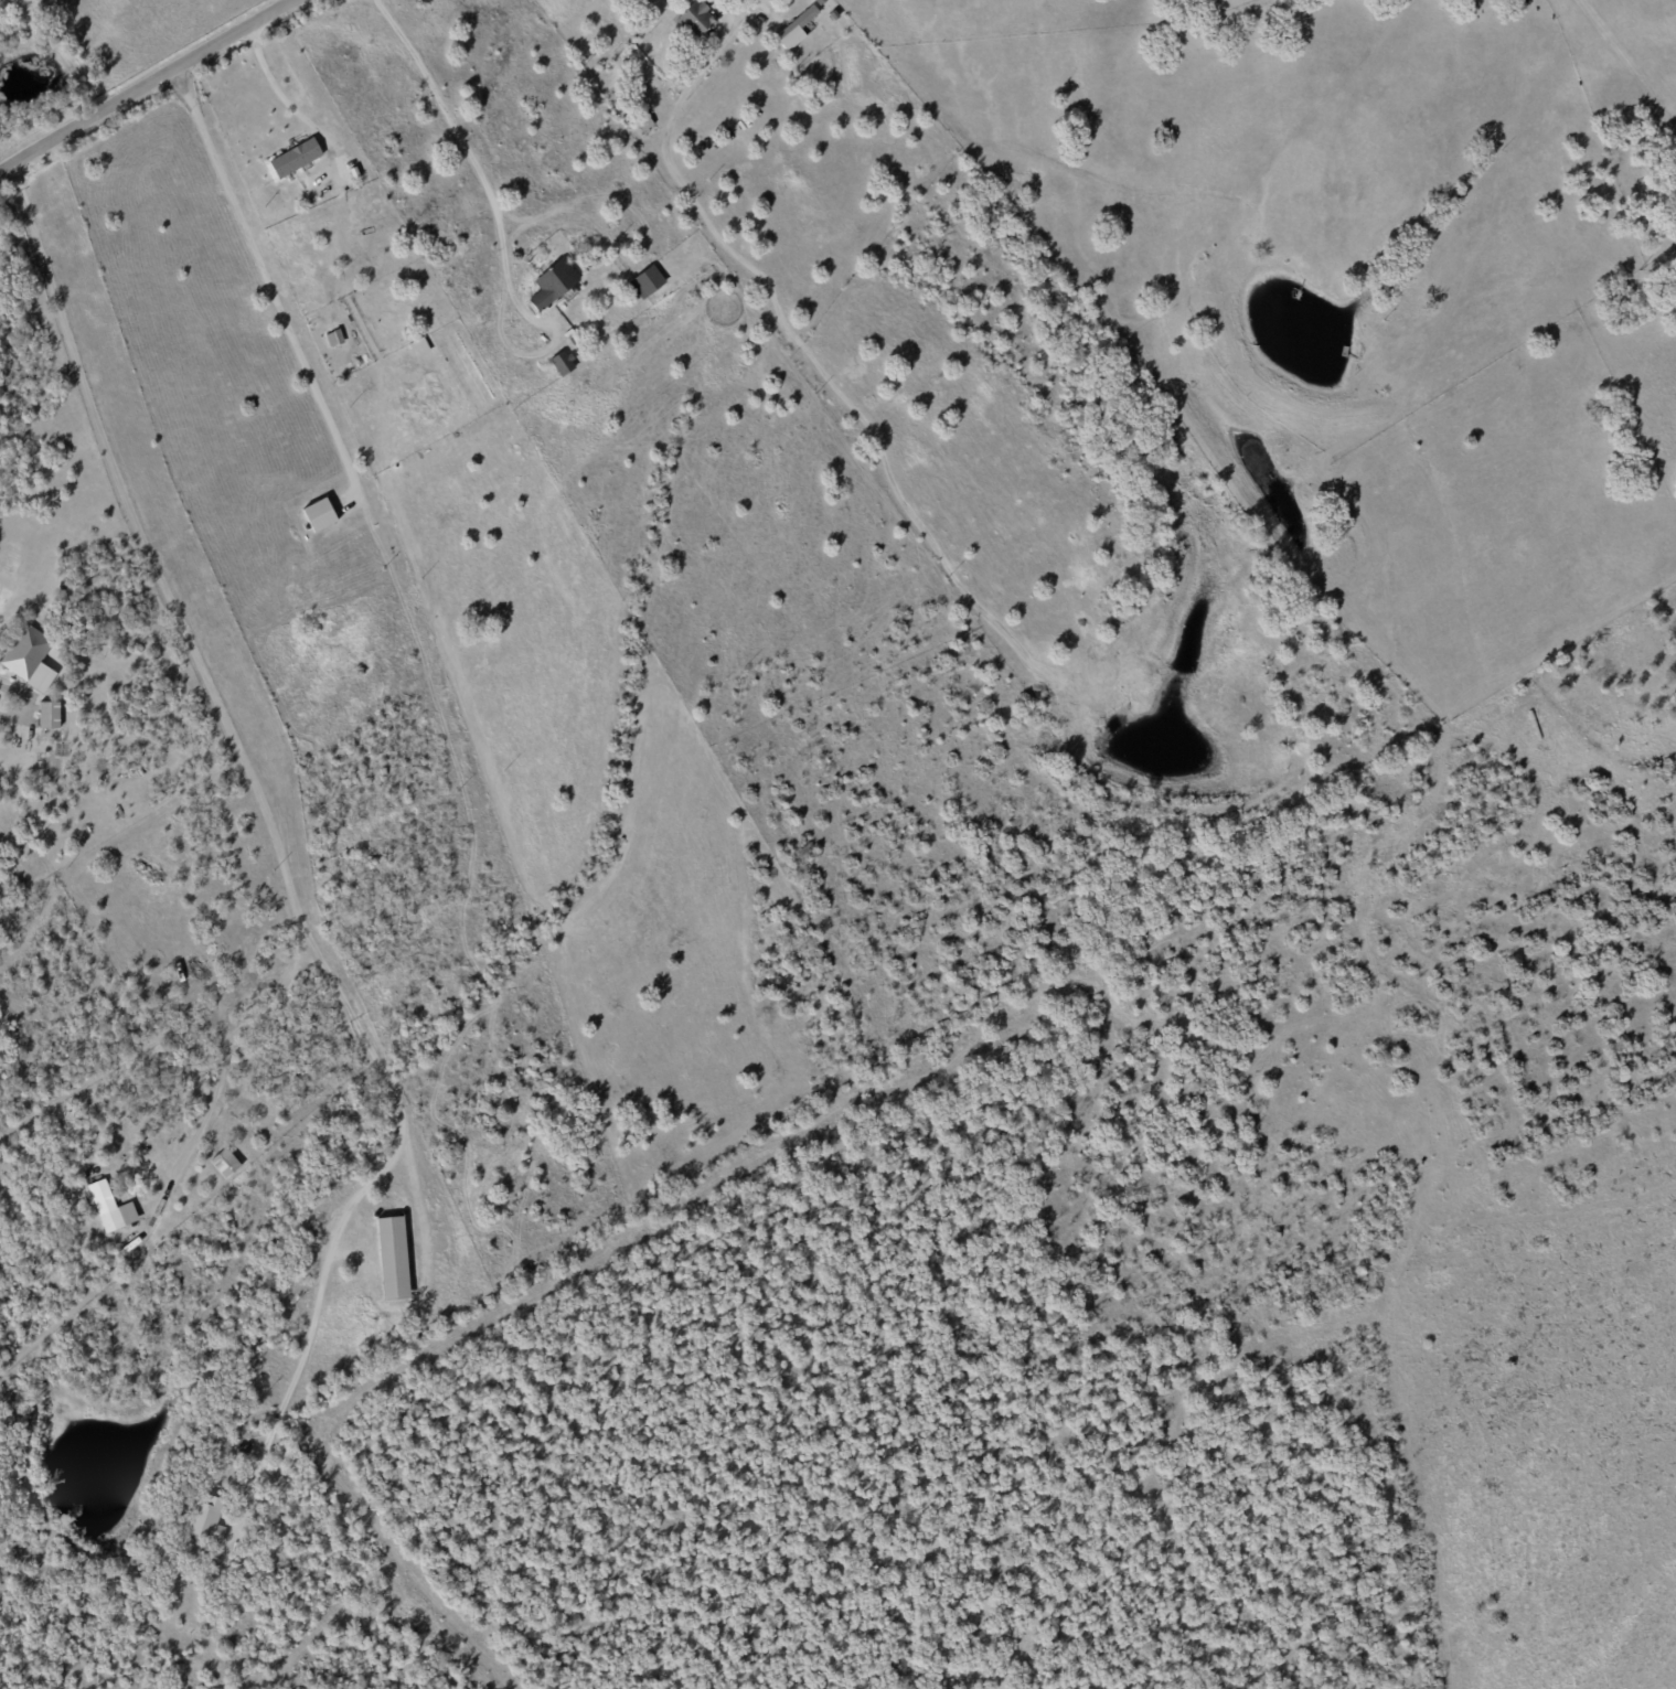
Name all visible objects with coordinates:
road: (709, 1)
building: (819, 1)
building: (696, 18)
building: (794, 29)
road: (146, 85)
road: (285, 89)
building: (642, 121)
building: (293, 158)
road: (474, 163)
road: (274, 276)
building: (647, 280)
building: (553, 281)
building: (333, 338)
building: (418, 345)
building: (562, 362)
building: (318, 514)
building: (30, 658)
road: (30, 696)
building: (49, 714)
road: (265, 816)
road: (217, 1080)
building: (224, 1163)
building: (104, 1206)
building: (389, 1257)
building: (206, 1518)

